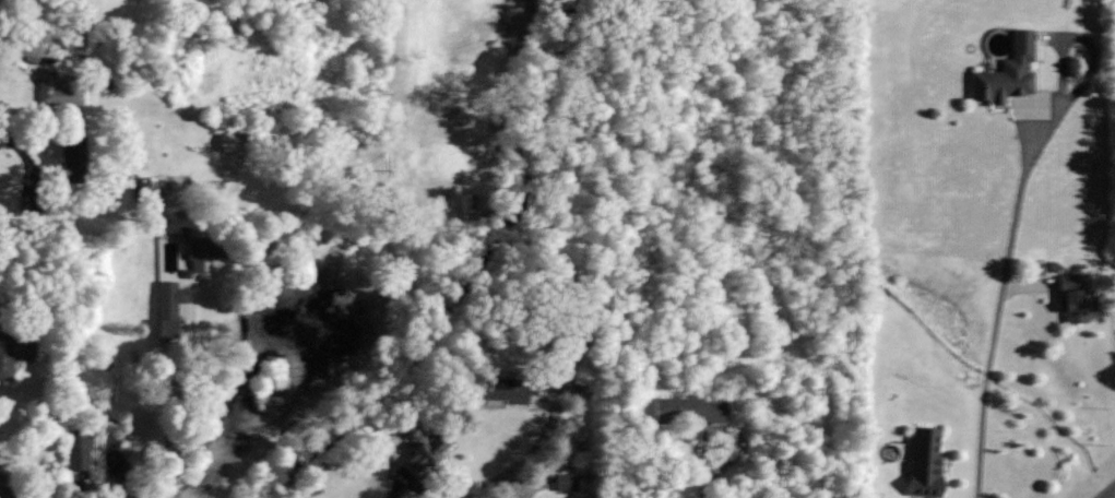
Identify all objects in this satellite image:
building: (76, 39)
road: (32, 51)
building: (1003, 72)
building: (60, 90)
building: (237, 141)
building: (76, 158)
building: (147, 188)
road: (68, 207)
building: (212, 248)
building: (170, 298)
building: (1071, 298)
road: (998, 307)
building: (580, 317)
building: (13, 349)
building: (505, 389)
road: (162, 391)
building: (691, 410)
building: (82, 449)
building: (429, 453)
road: (523, 459)
building: (929, 460)
road: (703, 472)
building: (569, 482)
road: (158, 483)
road: (1110, 494)

